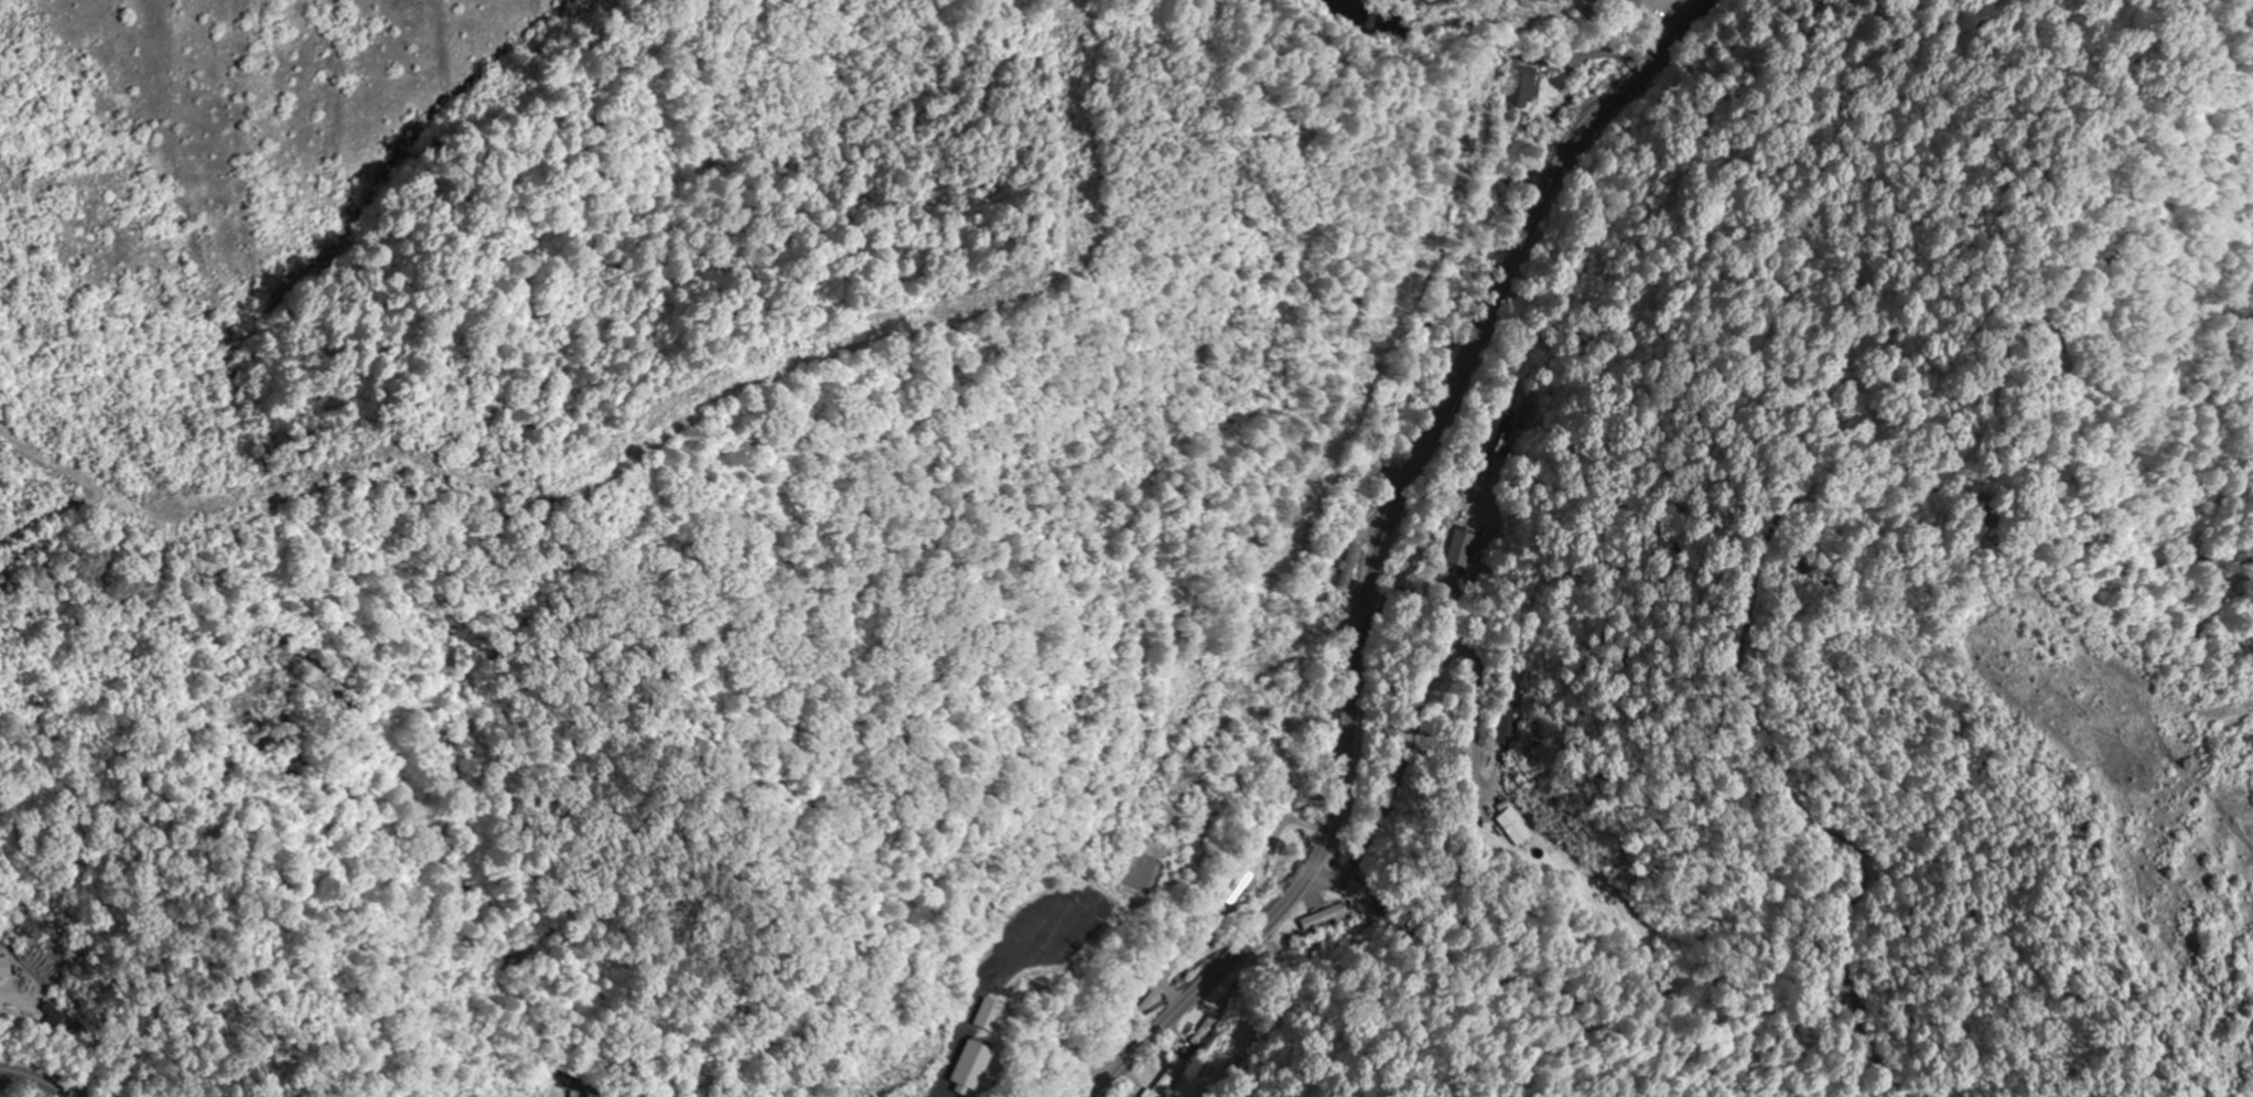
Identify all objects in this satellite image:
building: (1524, 86)
road: (1382, 545)
building: (1459, 546)
building: (1505, 722)
building: (1502, 819)
building: (1323, 918)
building: (6, 967)
building: (994, 1014)
building: (54, 1018)
building: (1206, 1031)
building: (978, 1064)
road: (39, 1074)

